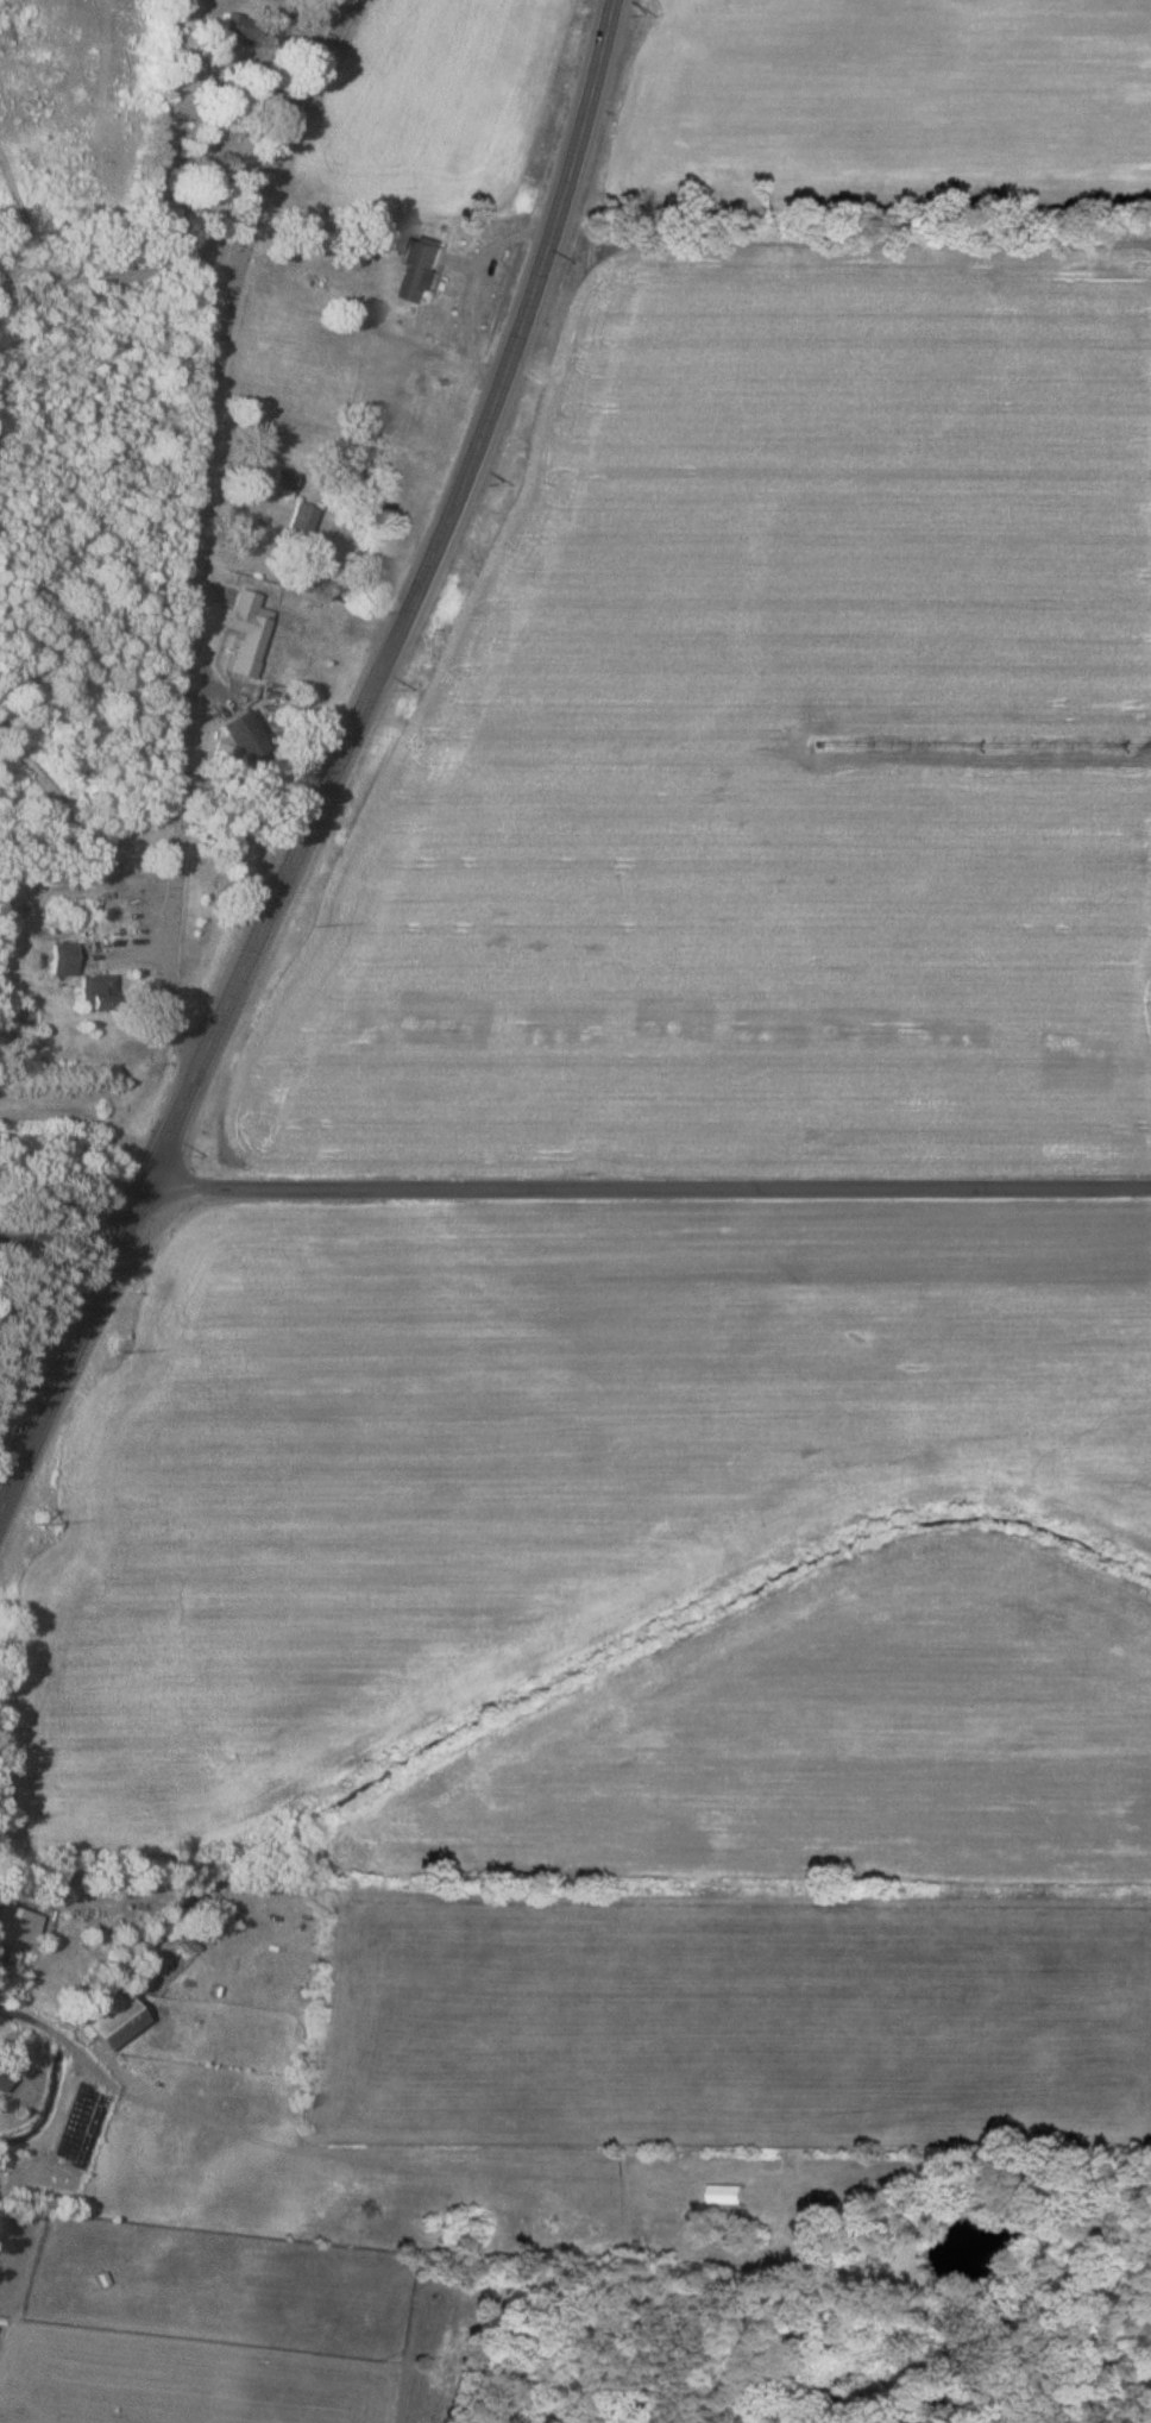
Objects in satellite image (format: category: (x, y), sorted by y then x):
building: (244, 27)
building: (416, 285)
building: (287, 481)
building: (304, 519)
road: (206, 521)
road: (407, 604)
building: (251, 633)
building: (250, 736)
building: (69, 960)
building: (102, 993)
road: (84, 1117)
road: (647, 1186)
road: (62, 1235)
road: (71, 1351)
road: (0, 1512)
building: (14, 1926)
building: (120, 2021)
building: (4, 2074)

